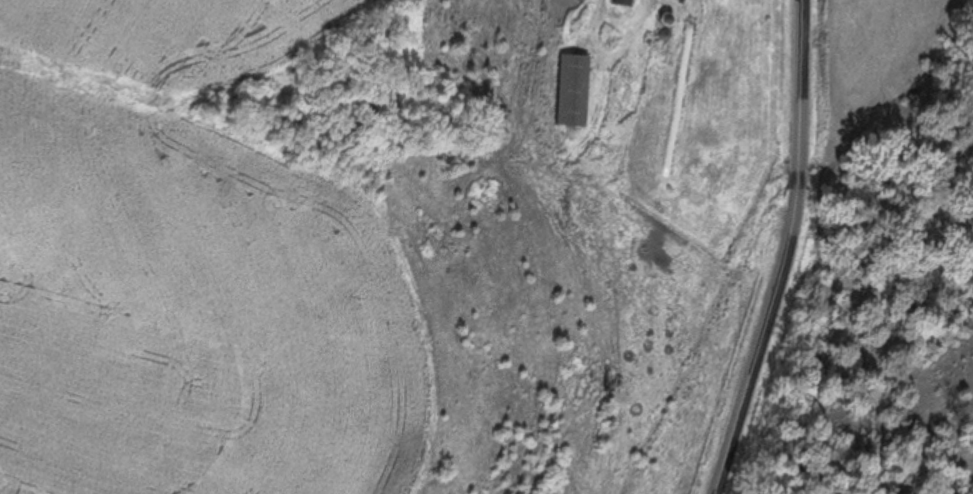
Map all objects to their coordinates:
building: (618, 2)
building: (568, 89)
road: (785, 251)

